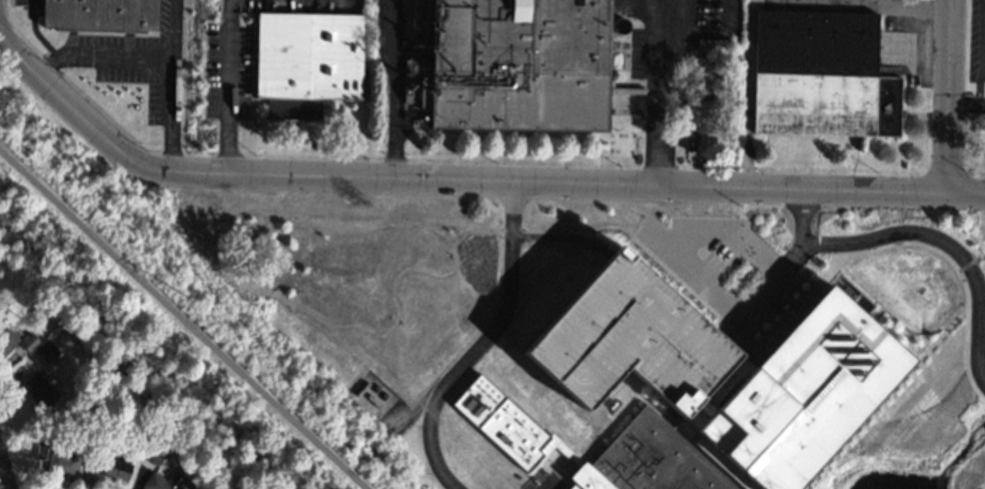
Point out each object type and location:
road: (235, 5)
building: (102, 15)
road: (645, 25)
road: (717, 36)
road: (980, 52)
road: (103, 55)
road: (395, 61)
building: (307, 62)
building: (520, 64)
building: (821, 76)
road: (174, 87)
road: (232, 94)
road: (948, 96)
road: (963, 103)
road: (981, 105)
road: (662, 111)
road: (395, 151)
road: (445, 181)
road: (966, 193)
road: (684, 237)
road: (947, 246)
road: (787, 265)
power tower: (184, 302)
road: (183, 319)
building: (7, 342)
building: (30, 343)
road: (486, 343)
building: (42, 354)
building: (696, 387)
building: (40, 389)
building: (212, 452)
building: (154, 453)
building: (57, 461)
building: (107, 467)
road: (2, 479)
building: (164, 482)

